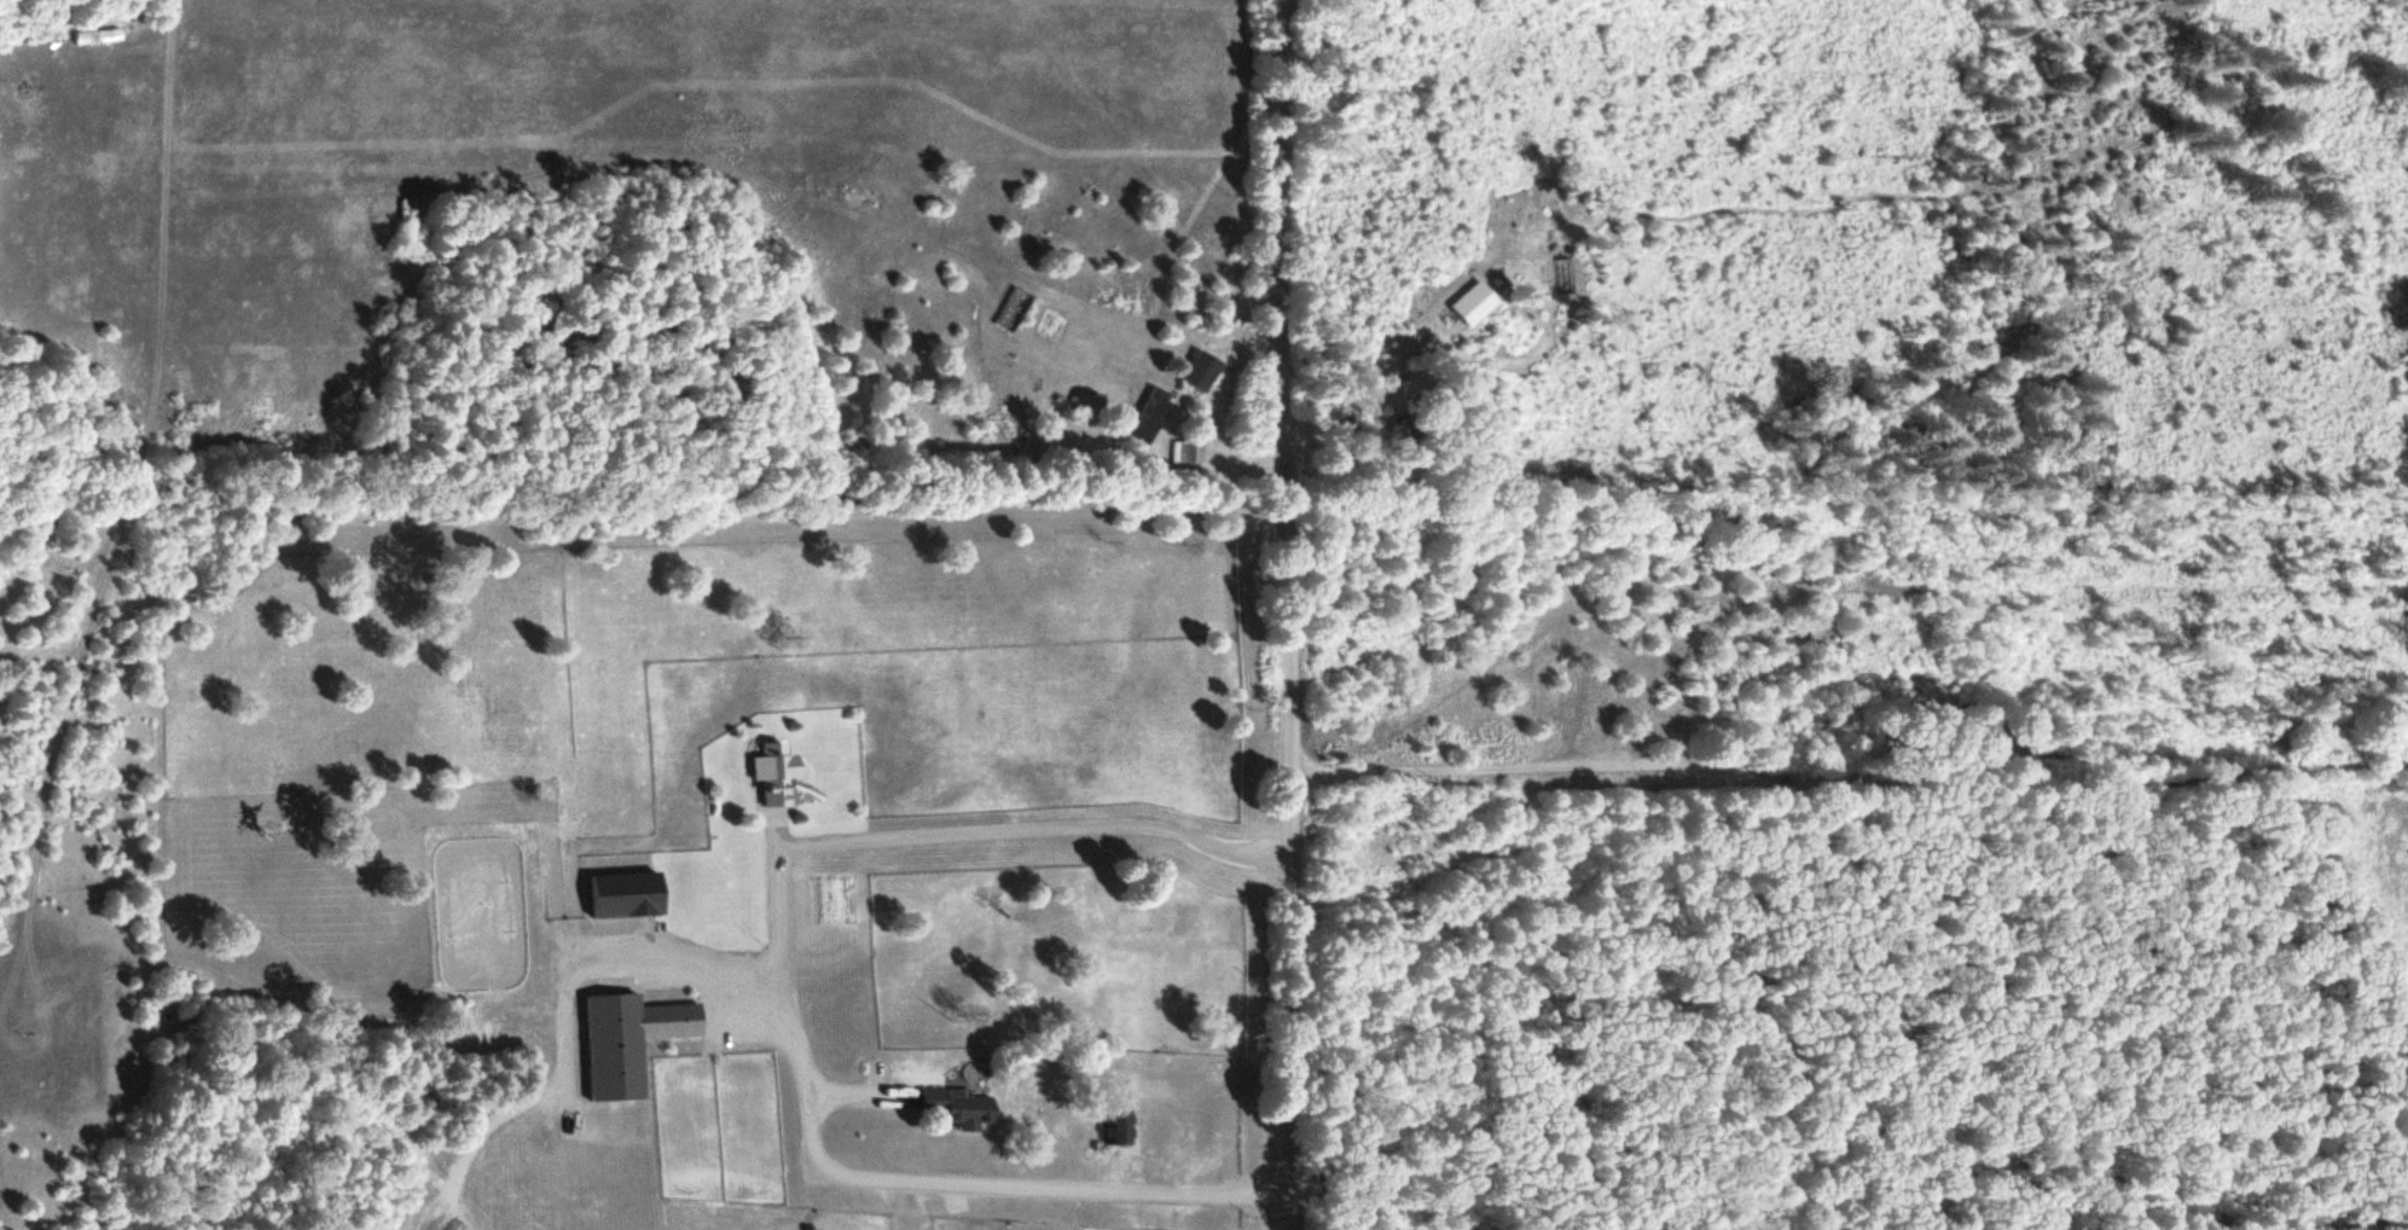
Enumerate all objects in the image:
building: (1470, 304)
building: (1200, 372)
building: (1147, 420)
building: (1190, 452)
road: (1290, 615)
building: (778, 771)
road: (1849, 772)
road: (777, 818)
road: (781, 837)
building: (631, 890)
road: (787, 992)
road: (567, 993)
building: (632, 1037)
road: (855, 1100)
road: (907, 1101)
building: (957, 1106)
building: (1121, 1125)
road: (1118, 1173)

